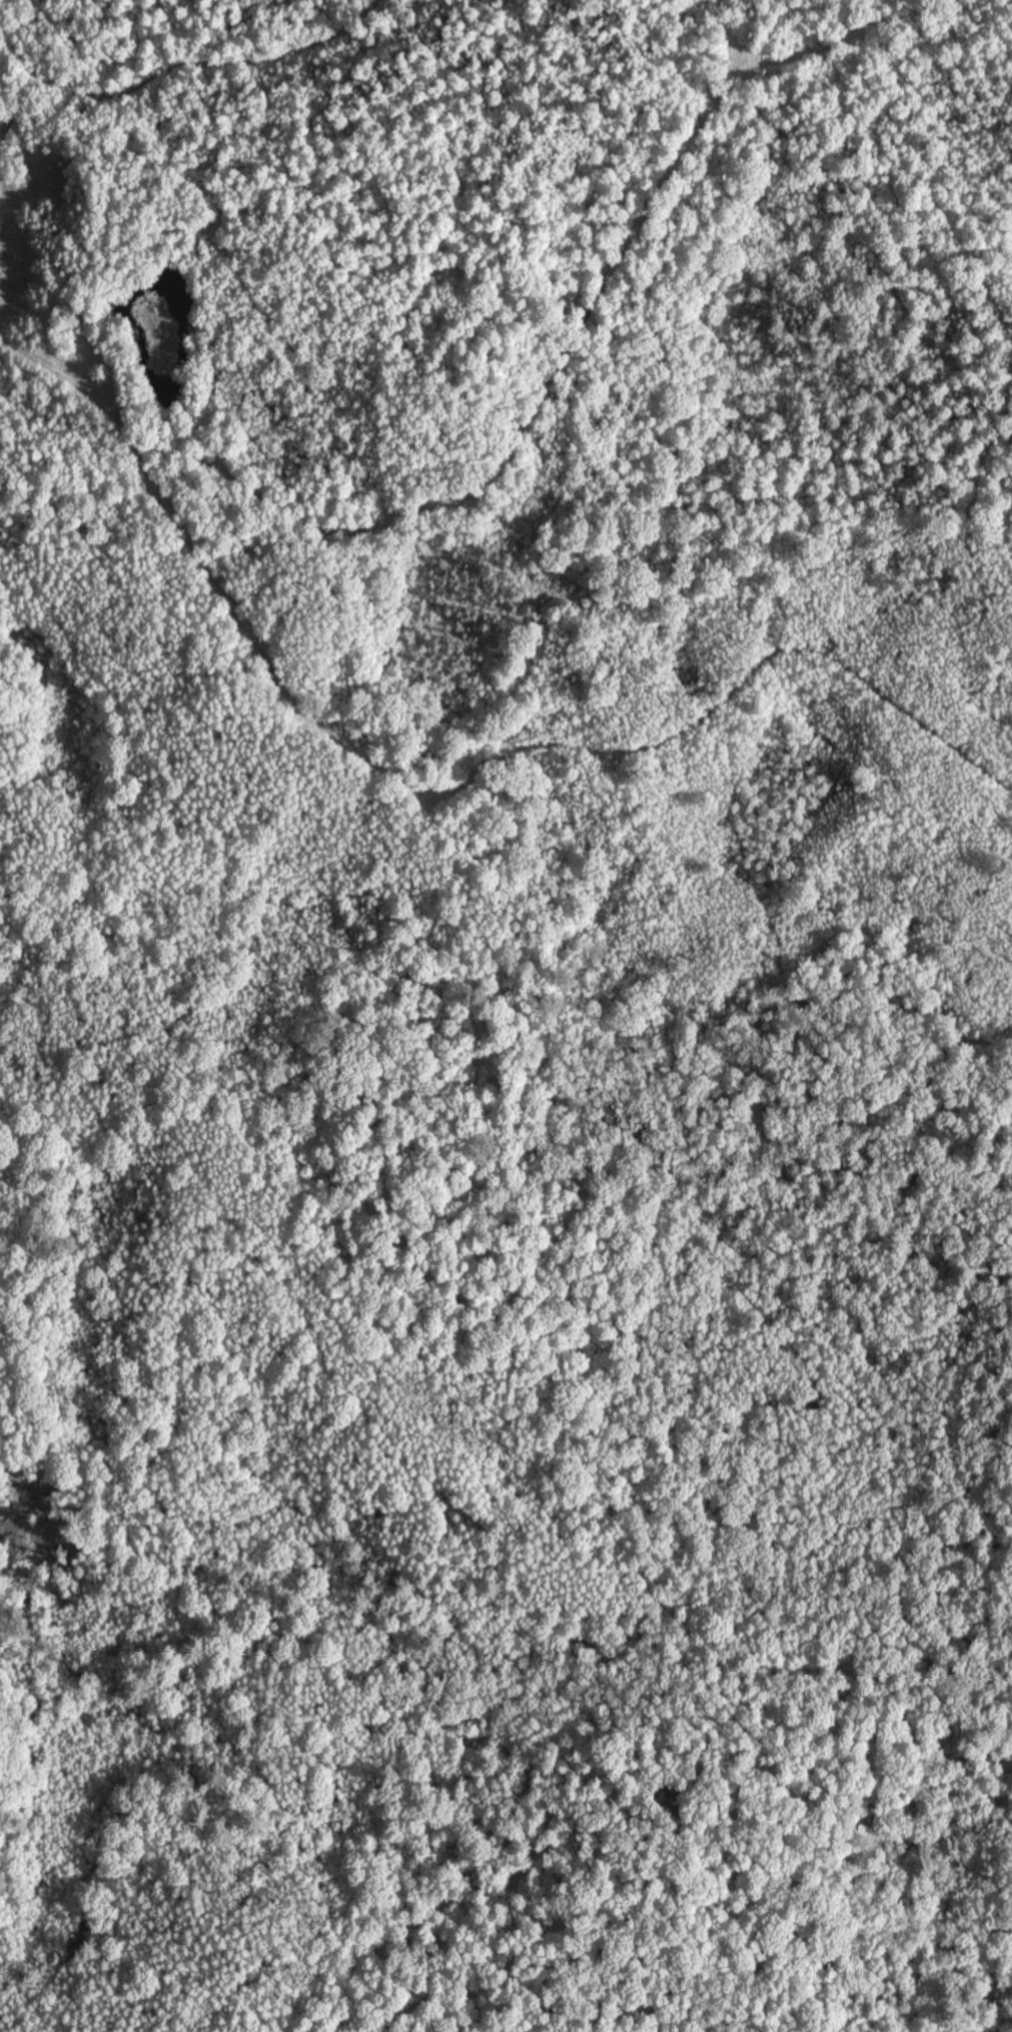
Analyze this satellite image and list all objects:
road: (977, 1187)
road: (988, 1445)
road: (873, 1889)
road: (20, 2012)

